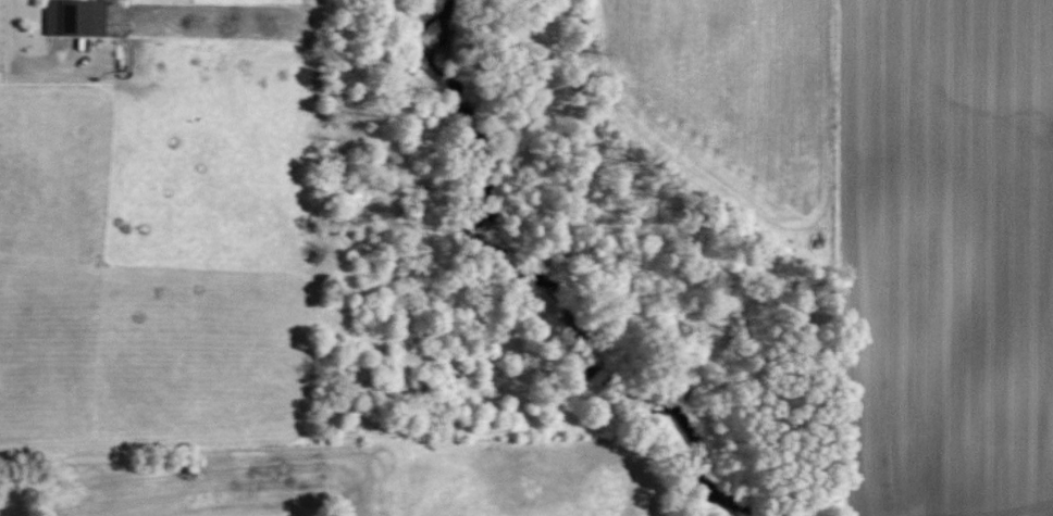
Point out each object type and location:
building: (73, 17)

